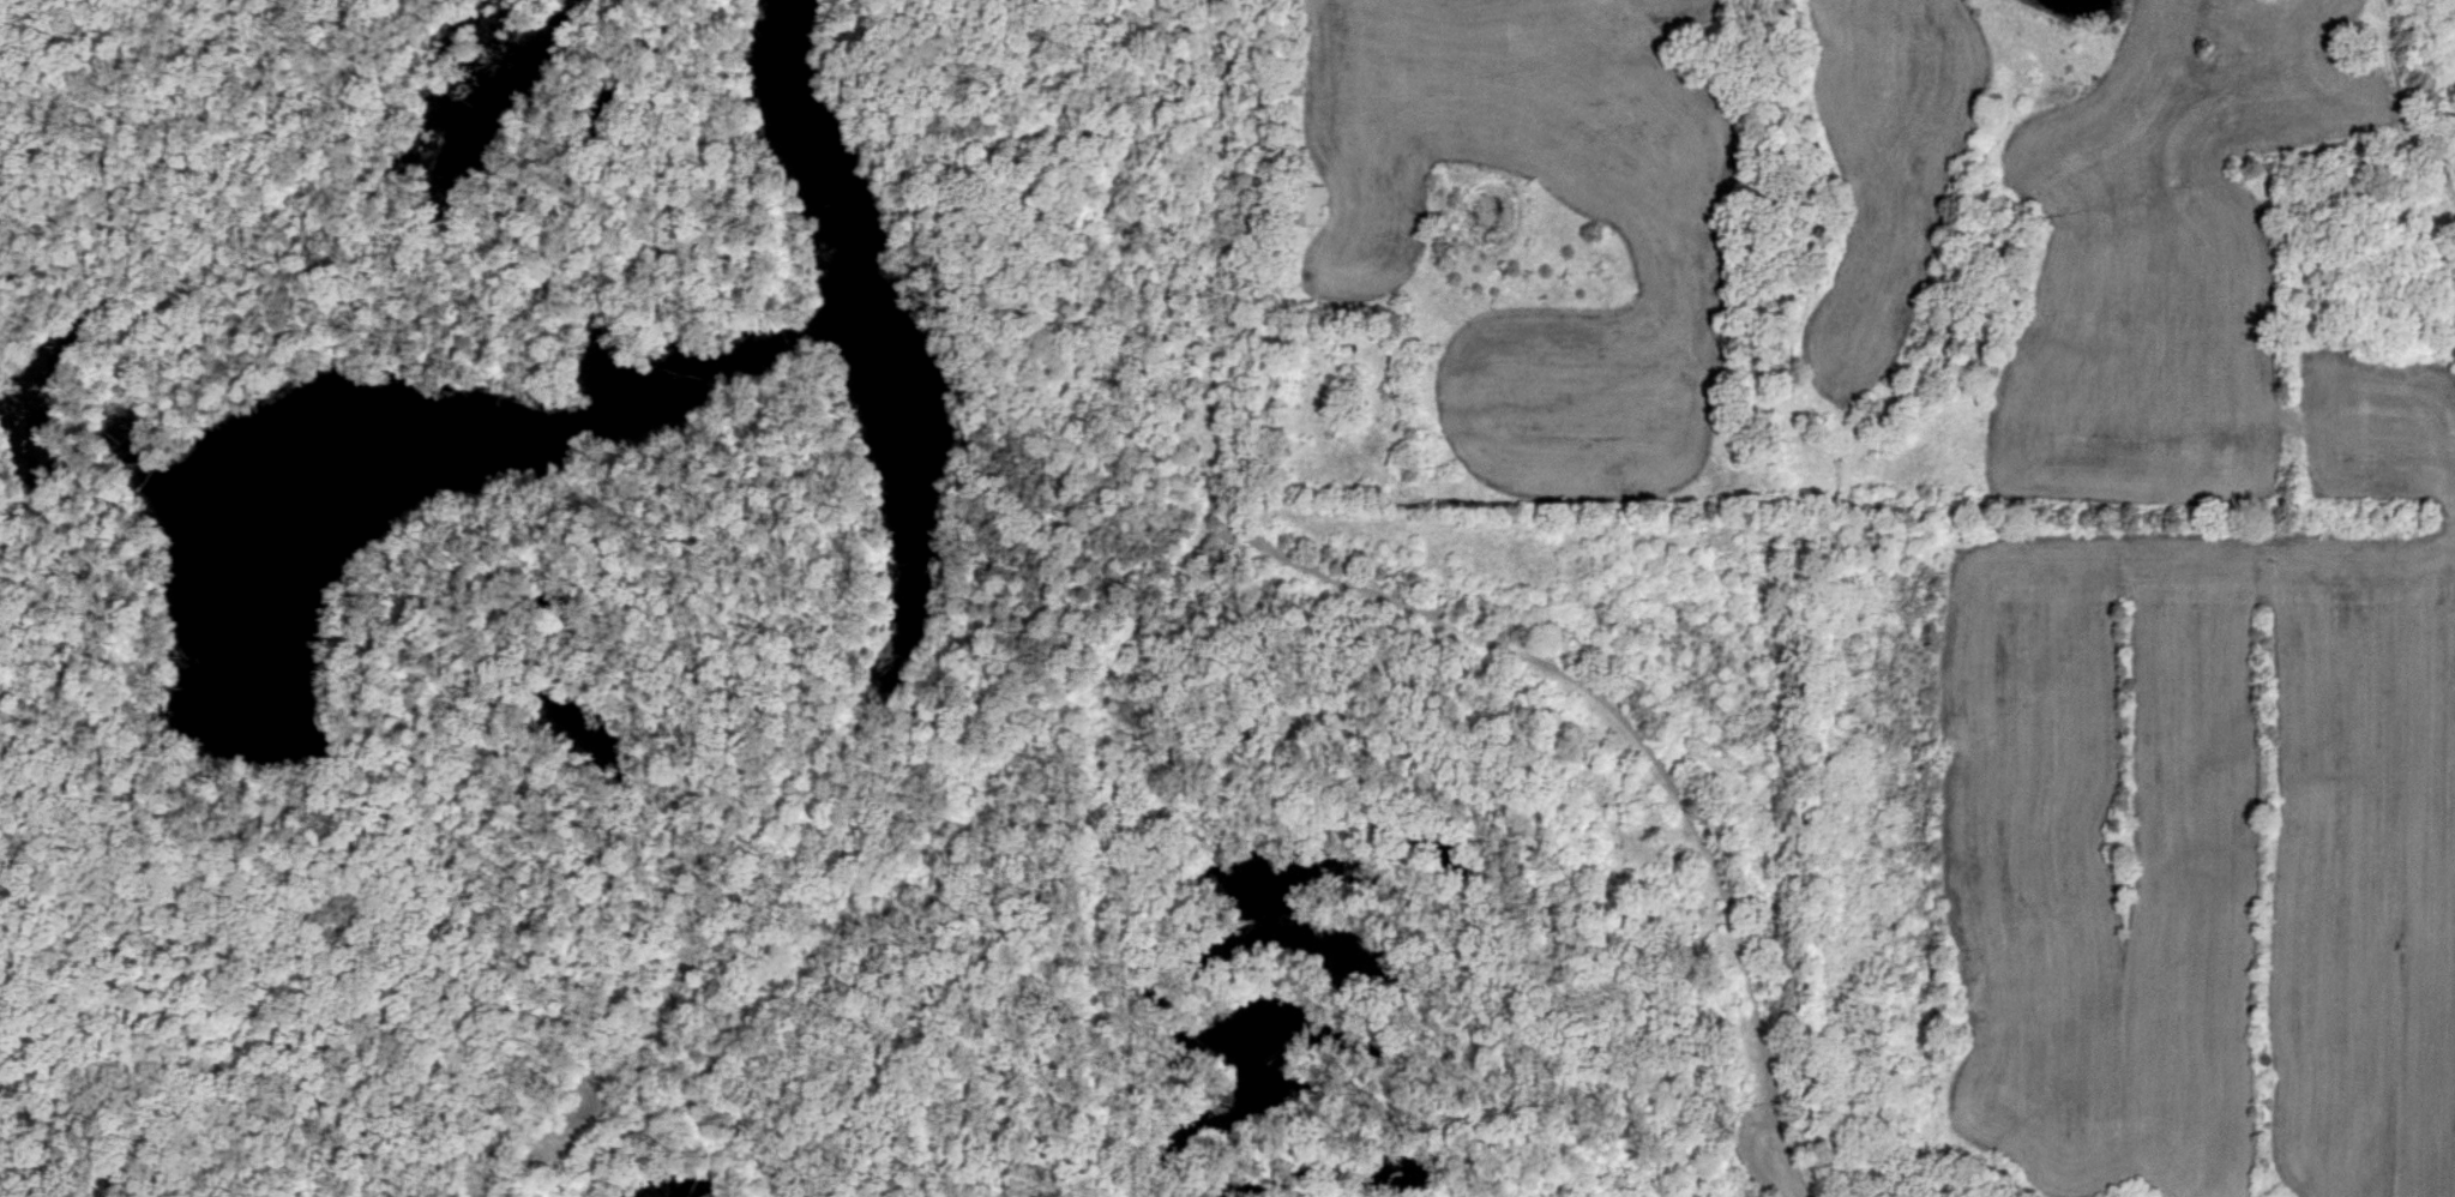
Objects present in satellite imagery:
building: (1311, 206)
road: (1789, 1196)

